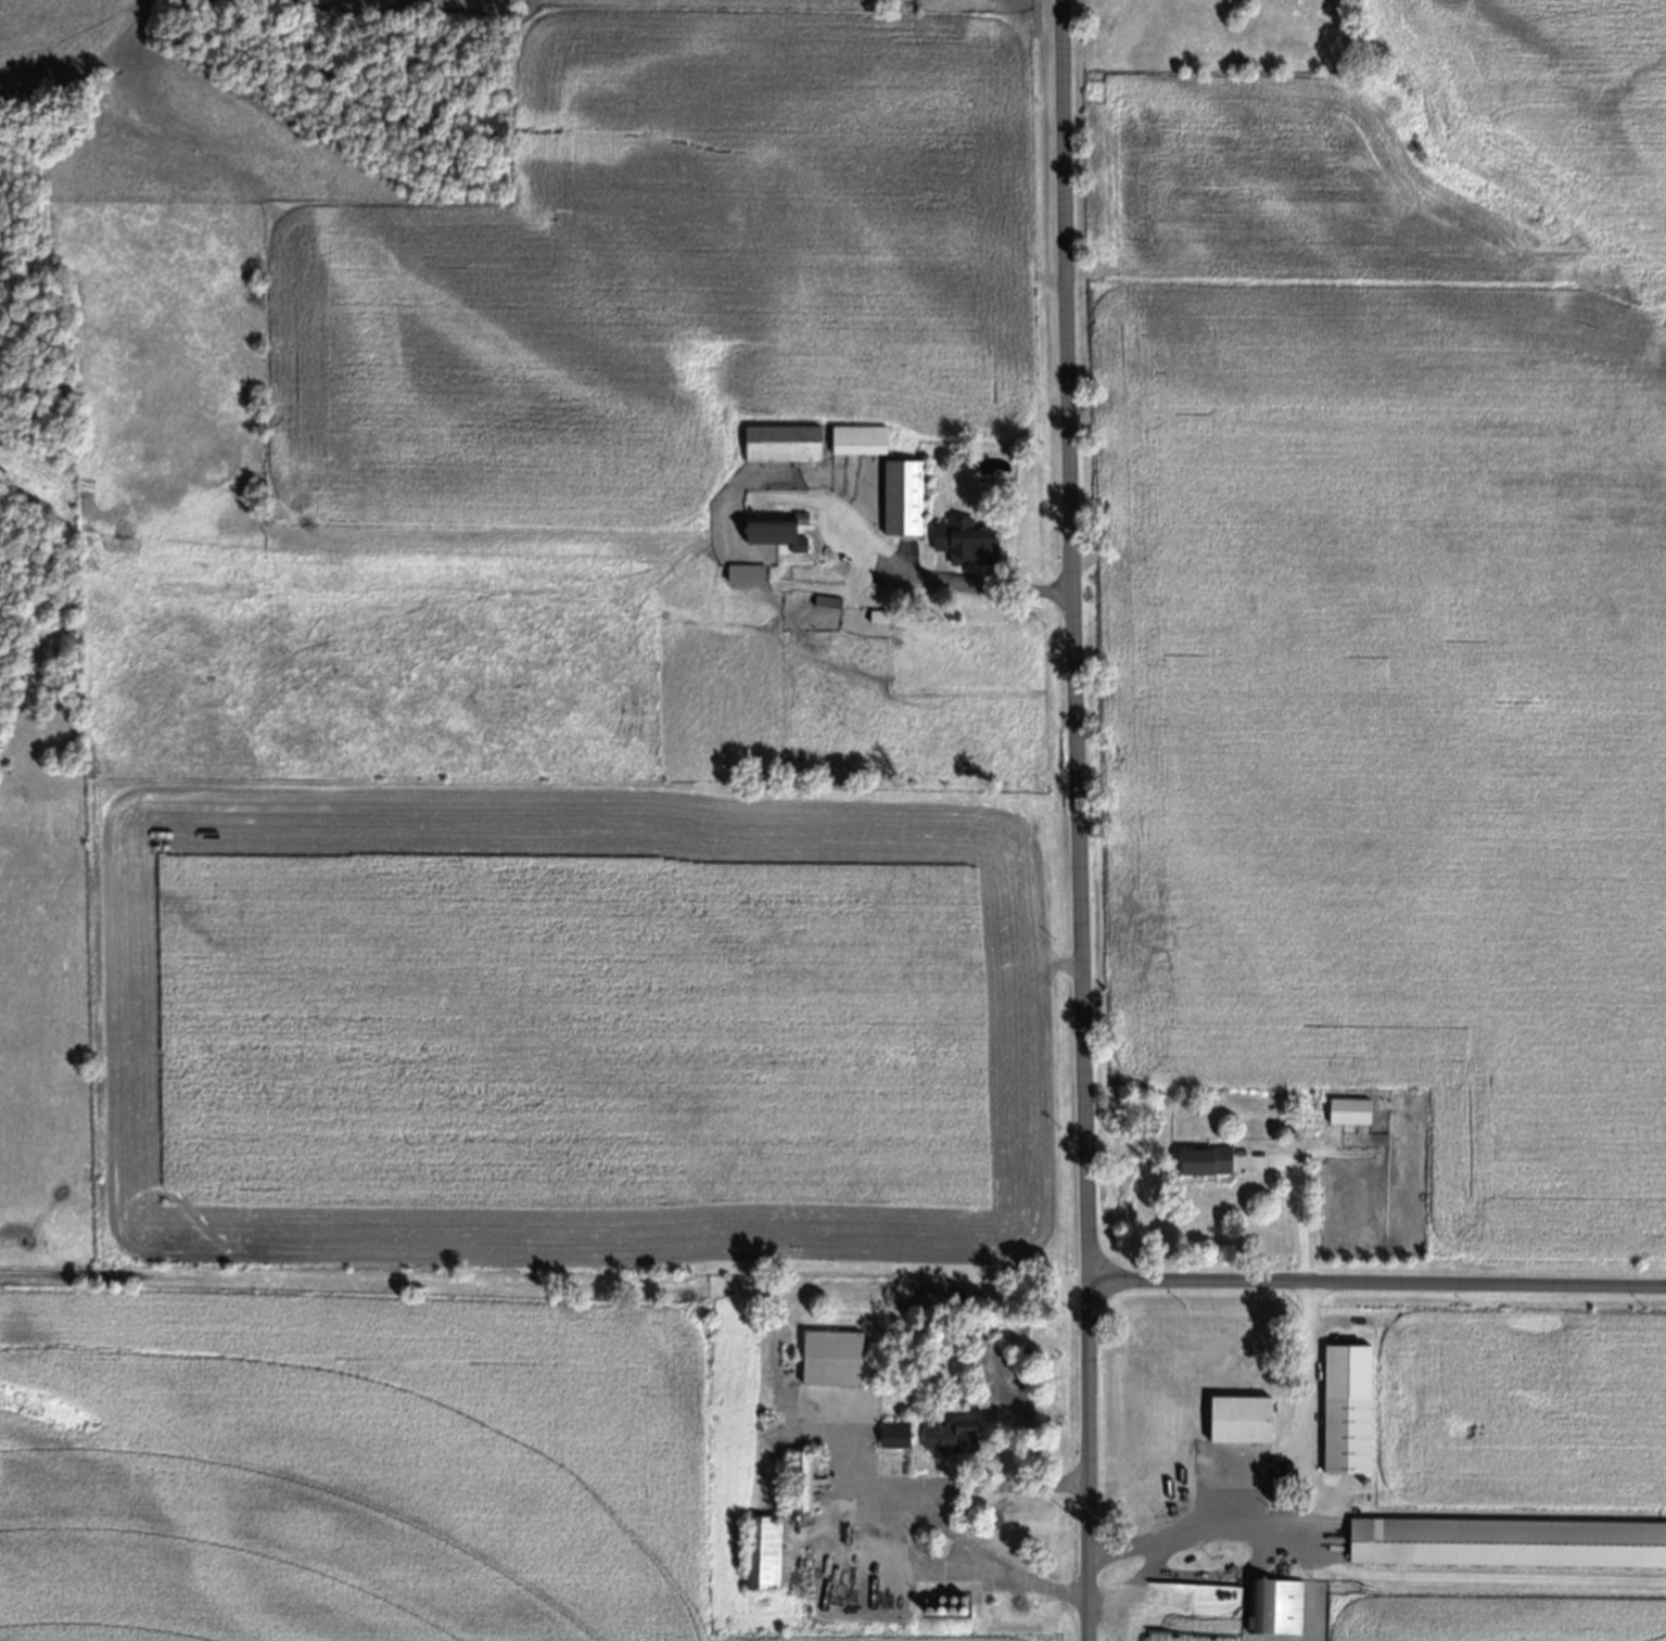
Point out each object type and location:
building: (861, 438)
building: (785, 443)
building: (905, 496)
building: (779, 529)
building: (965, 537)
road: (958, 580)
crop: (1385, 583)
building: (828, 599)
road: (1078, 819)
building: (1351, 1110)
building: (1208, 1160)
road: (1300, 1206)
road: (1376, 1290)
building: (834, 1356)
building: (1349, 1407)
building: (1243, 1416)
building: (896, 1434)
building: (953, 1435)
building: (807, 1479)
road: (1269, 1483)
road: (932, 1515)
building: (1509, 1540)
building: (766, 1551)
building: (1197, 1595)
building: (1276, 1604)

